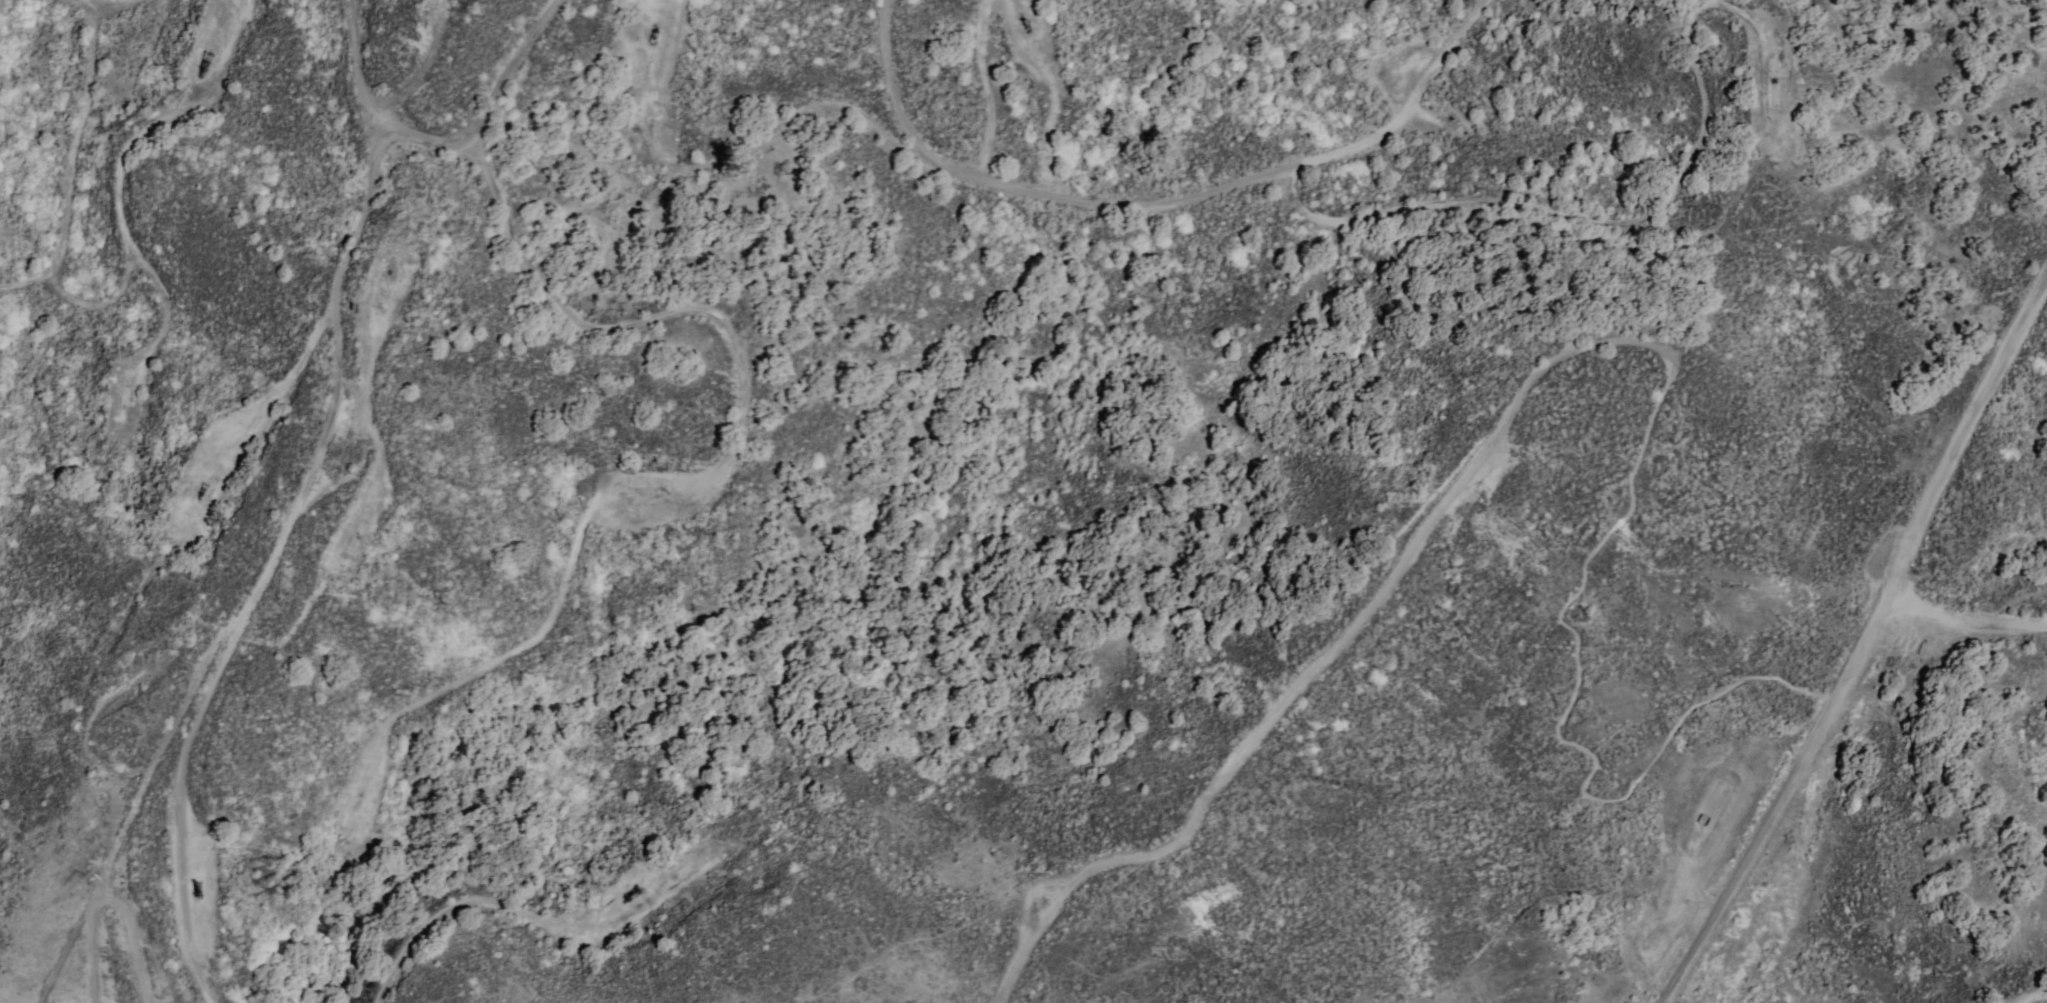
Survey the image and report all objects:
road: (120, 4)
road: (1745, 12)
road: (420, 69)
road: (993, 89)
road: (836, 104)
road: (482, 107)
road: (164, 121)
road: (77, 139)
road: (986, 180)
road: (364, 197)
road: (1659, 208)
road: (1348, 216)
road: (1682, 244)
road: (30, 283)
road: (112, 297)
road: (1595, 341)
road: (1027, 422)
road: (239, 458)
road: (116, 459)
road: (723, 459)
road: (1961, 621)
road: (274, 641)
road: (1851, 642)
road: (133, 803)
road: (180, 809)
road: (535, 919)
road: (2029, 995)

